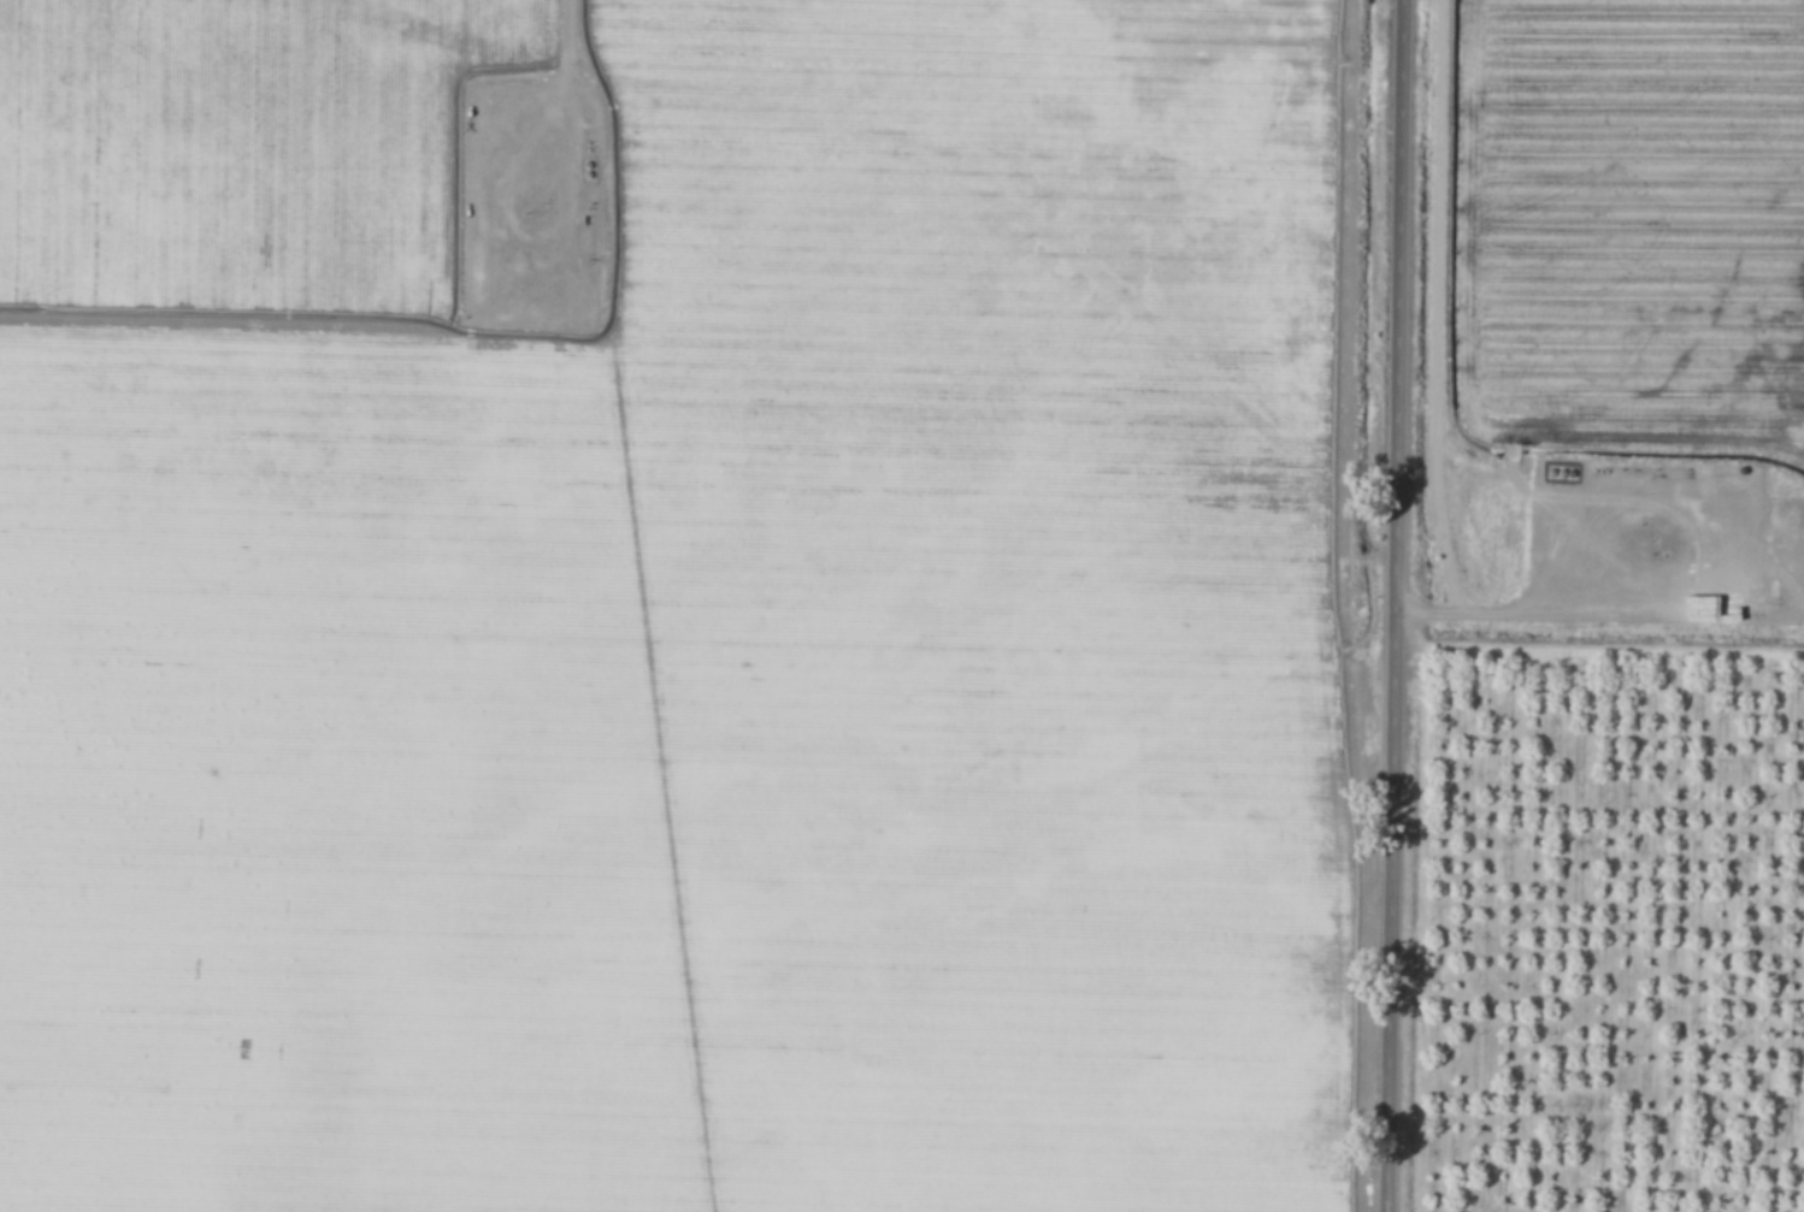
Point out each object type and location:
road: (1404, 605)

